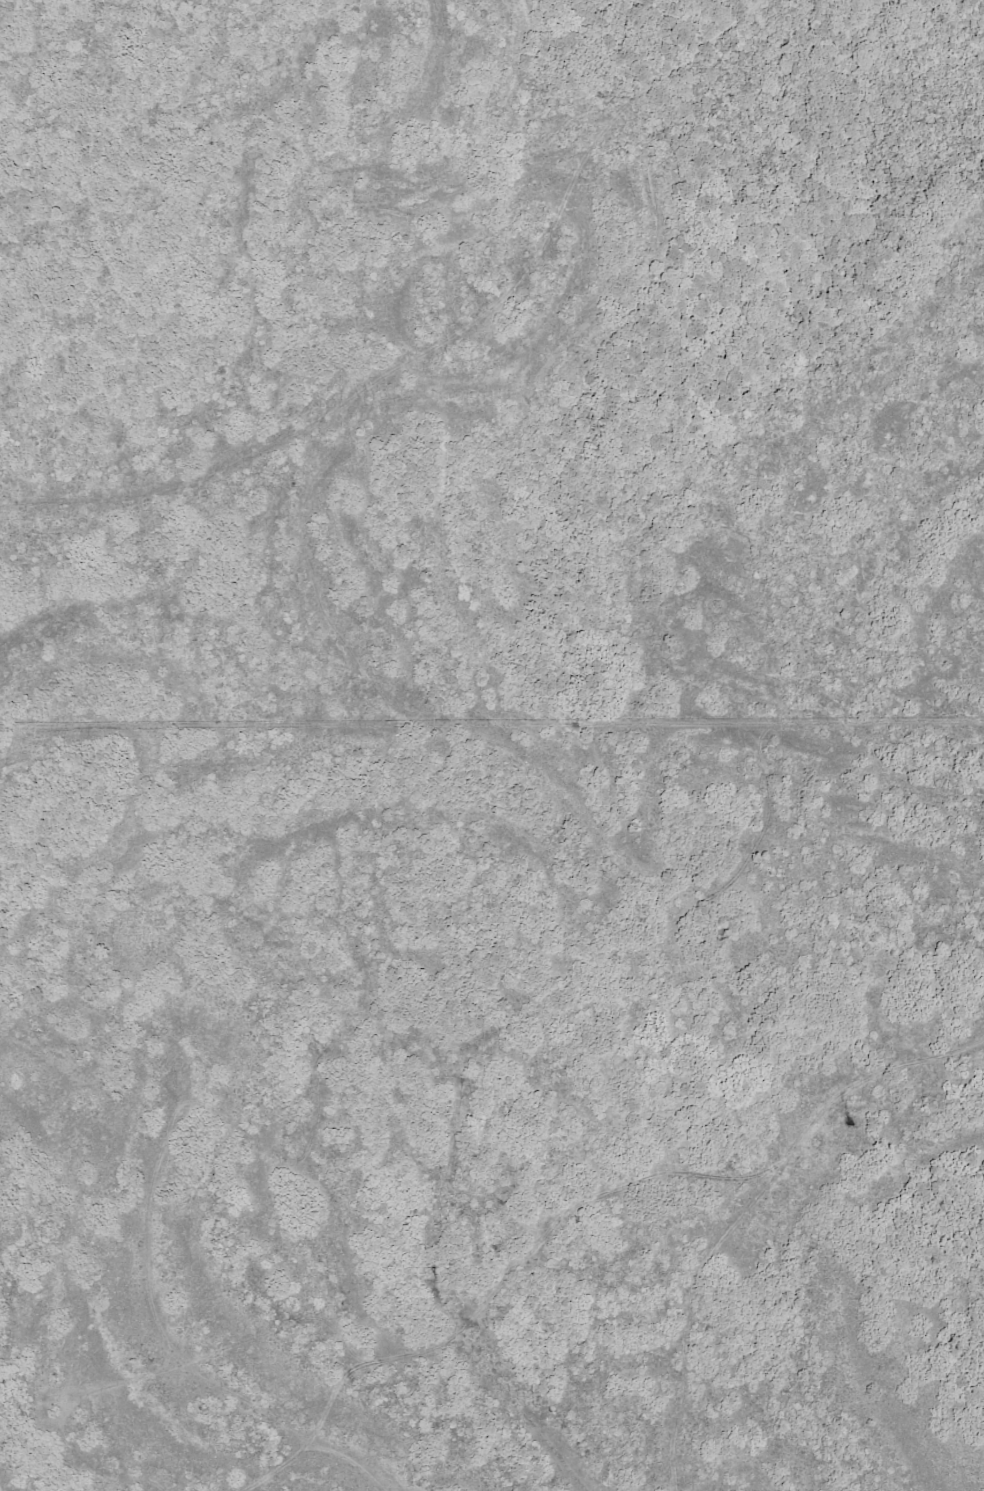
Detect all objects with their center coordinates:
road: (476, 334)
road: (755, 1220)
road: (318, 1470)

